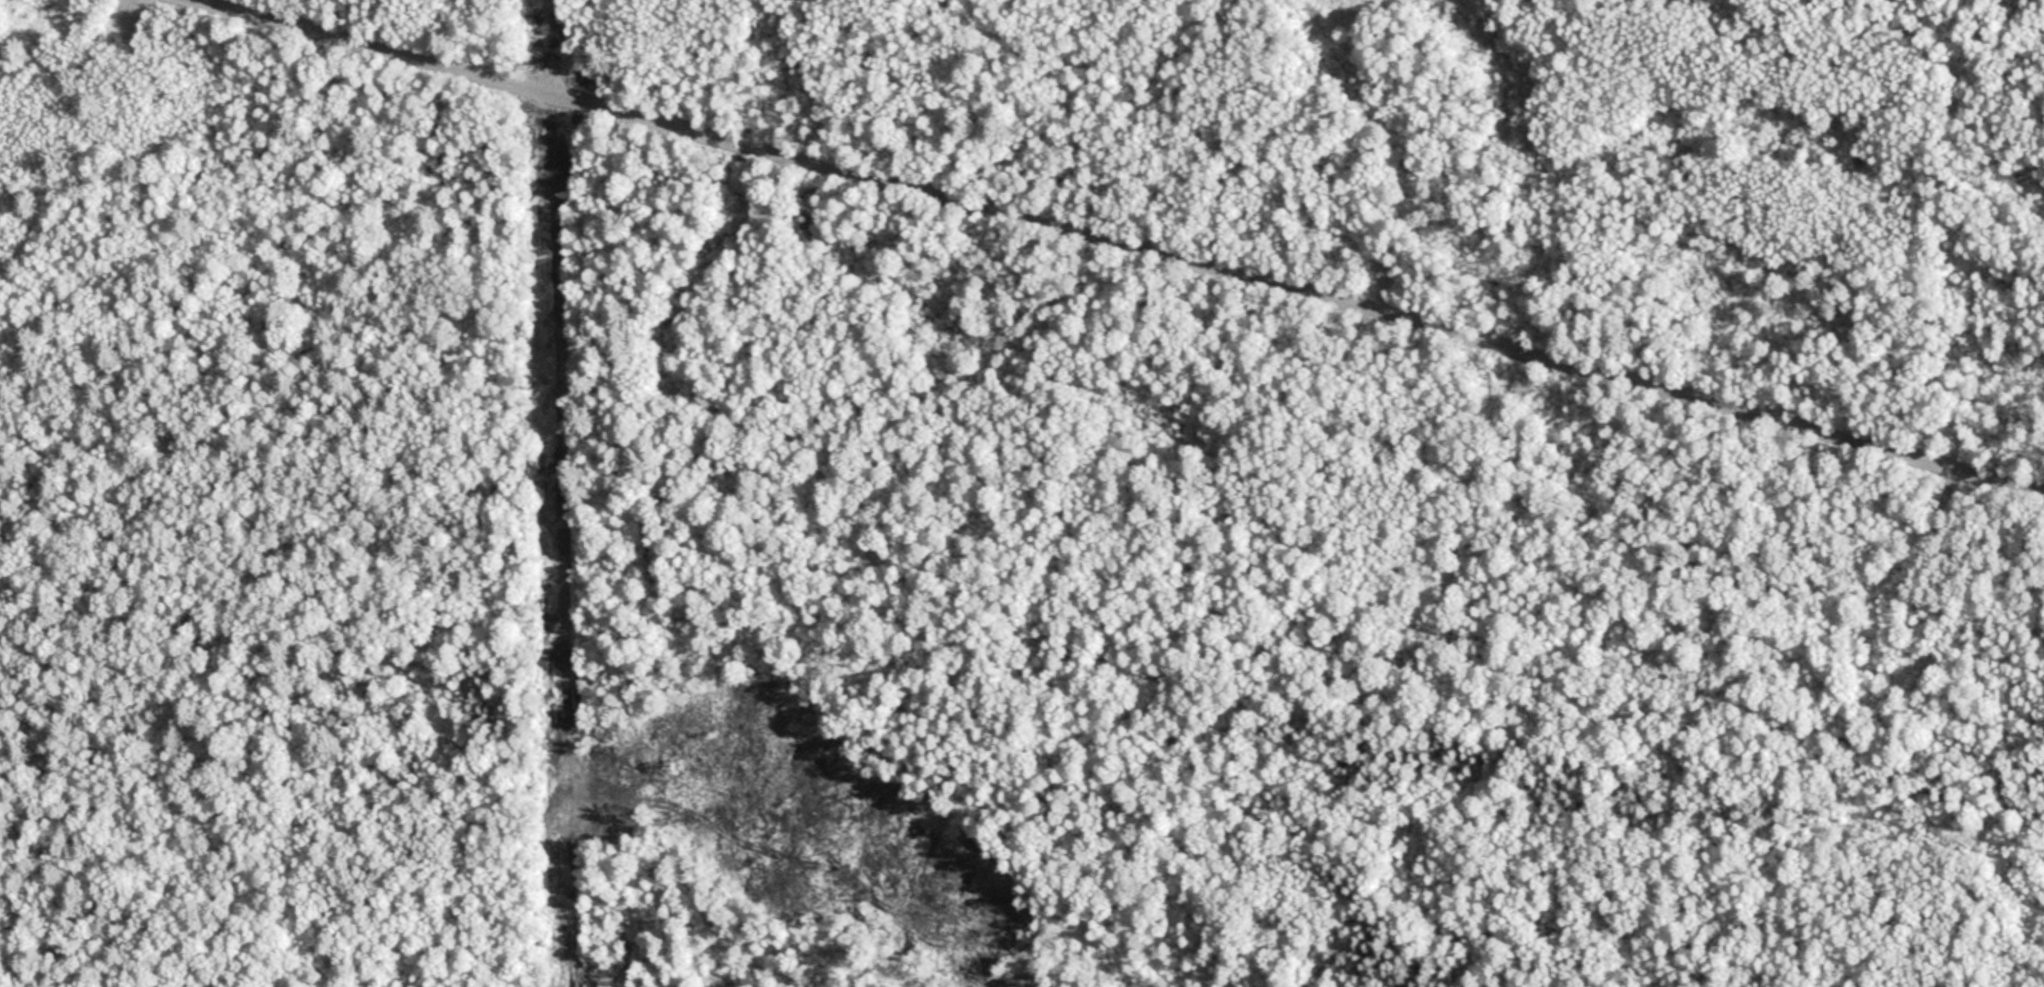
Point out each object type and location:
road: (561, 51)
road: (1114, 248)
park: (1022, 493)

